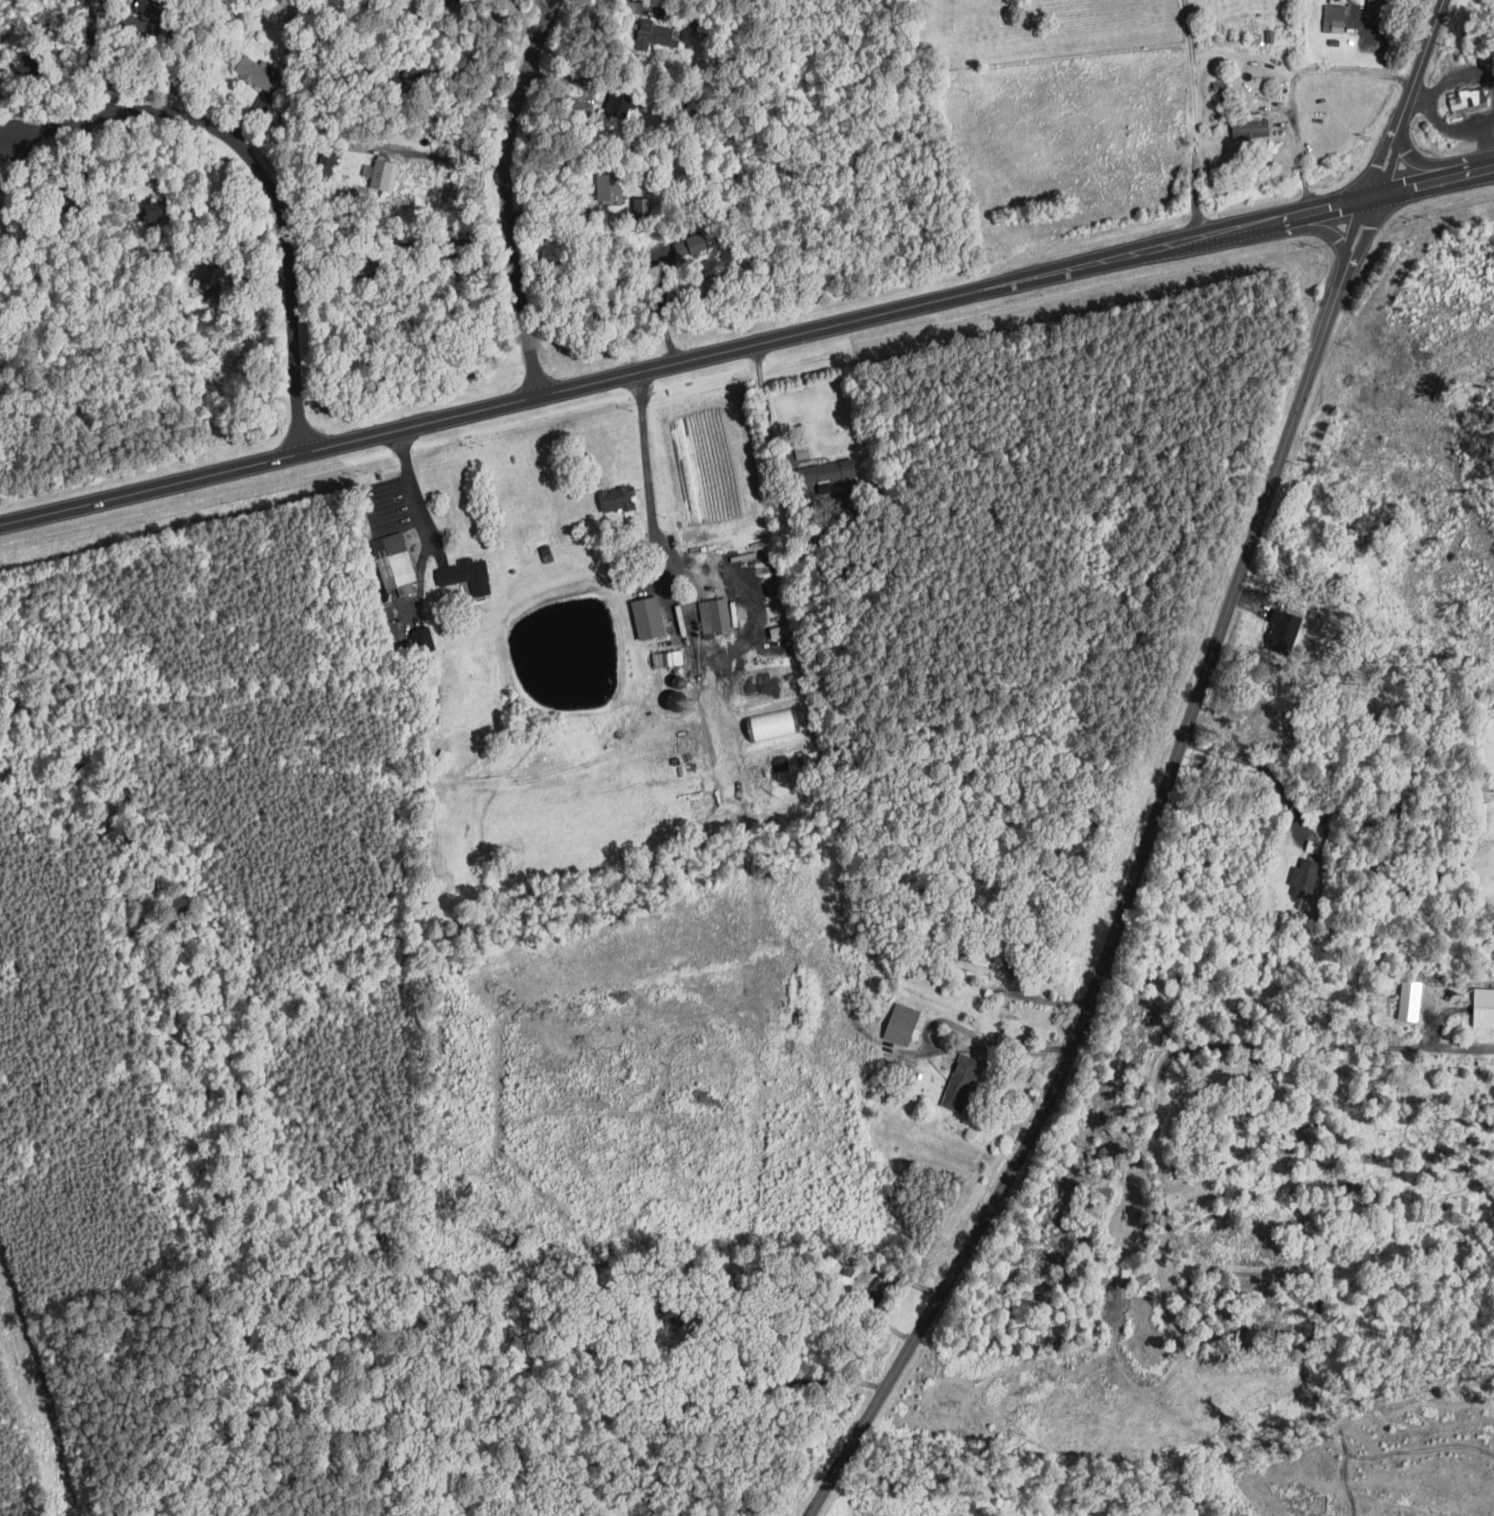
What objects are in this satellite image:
building: (1381, 9)
building: (1334, 16)
building: (656, 33)
road: (1420, 59)
building: (258, 72)
road: (1461, 77)
road: (1293, 87)
road: (1420, 93)
building: (1469, 98)
building: (618, 105)
road: (1196, 119)
road: (1399, 126)
building: (1252, 127)
road: (1453, 128)
road: (4, 136)
road: (1487, 144)
road: (453, 159)
road: (1381, 159)
building: (326, 163)
road: (1390, 165)
road: (1420, 165)
road: (1486, 170)
building: (382, 173)
road: (263, 174)
road: (1469, 174)
building: (608, 187)
road: (1421, 187)
road: (510, 194)
traffic signals: (1382, 197)
traffic signals: (1366, 201)
road: (1338, 207)
building: (154, 210)
road: (1289, 219)
road: (1329, 227)
road: (1355, 229)
road: (1241, 230)
road: (451, 240)
building: (690, 244)
road: (1358, 249)
building: (208, 277)
road: (1339, 279)
road: (663, 308)
road: (599, 381)
road: (769, 411)
building: (802, 452)
building: (828, 473)
road: (415, 488)
building: (618, 498)
road: (650, 505)
building: (542, 548)
building: (394, 562)
building: (467, 575)
building: (714, 616)
building: (648, 618)
building: (779, 628)
building: (1284, 631)
building: (423, 640)
building: (668, 658)
building: (797, 756)
road: (1267, 768)
building: (1305, 878)
road: (1116, 929)
building: (1484, 1006)
building: (901, 1023)
road: (1254, 1044)
road: (952, 1048)
building: (961, 1081)
road: (782, 1383)

